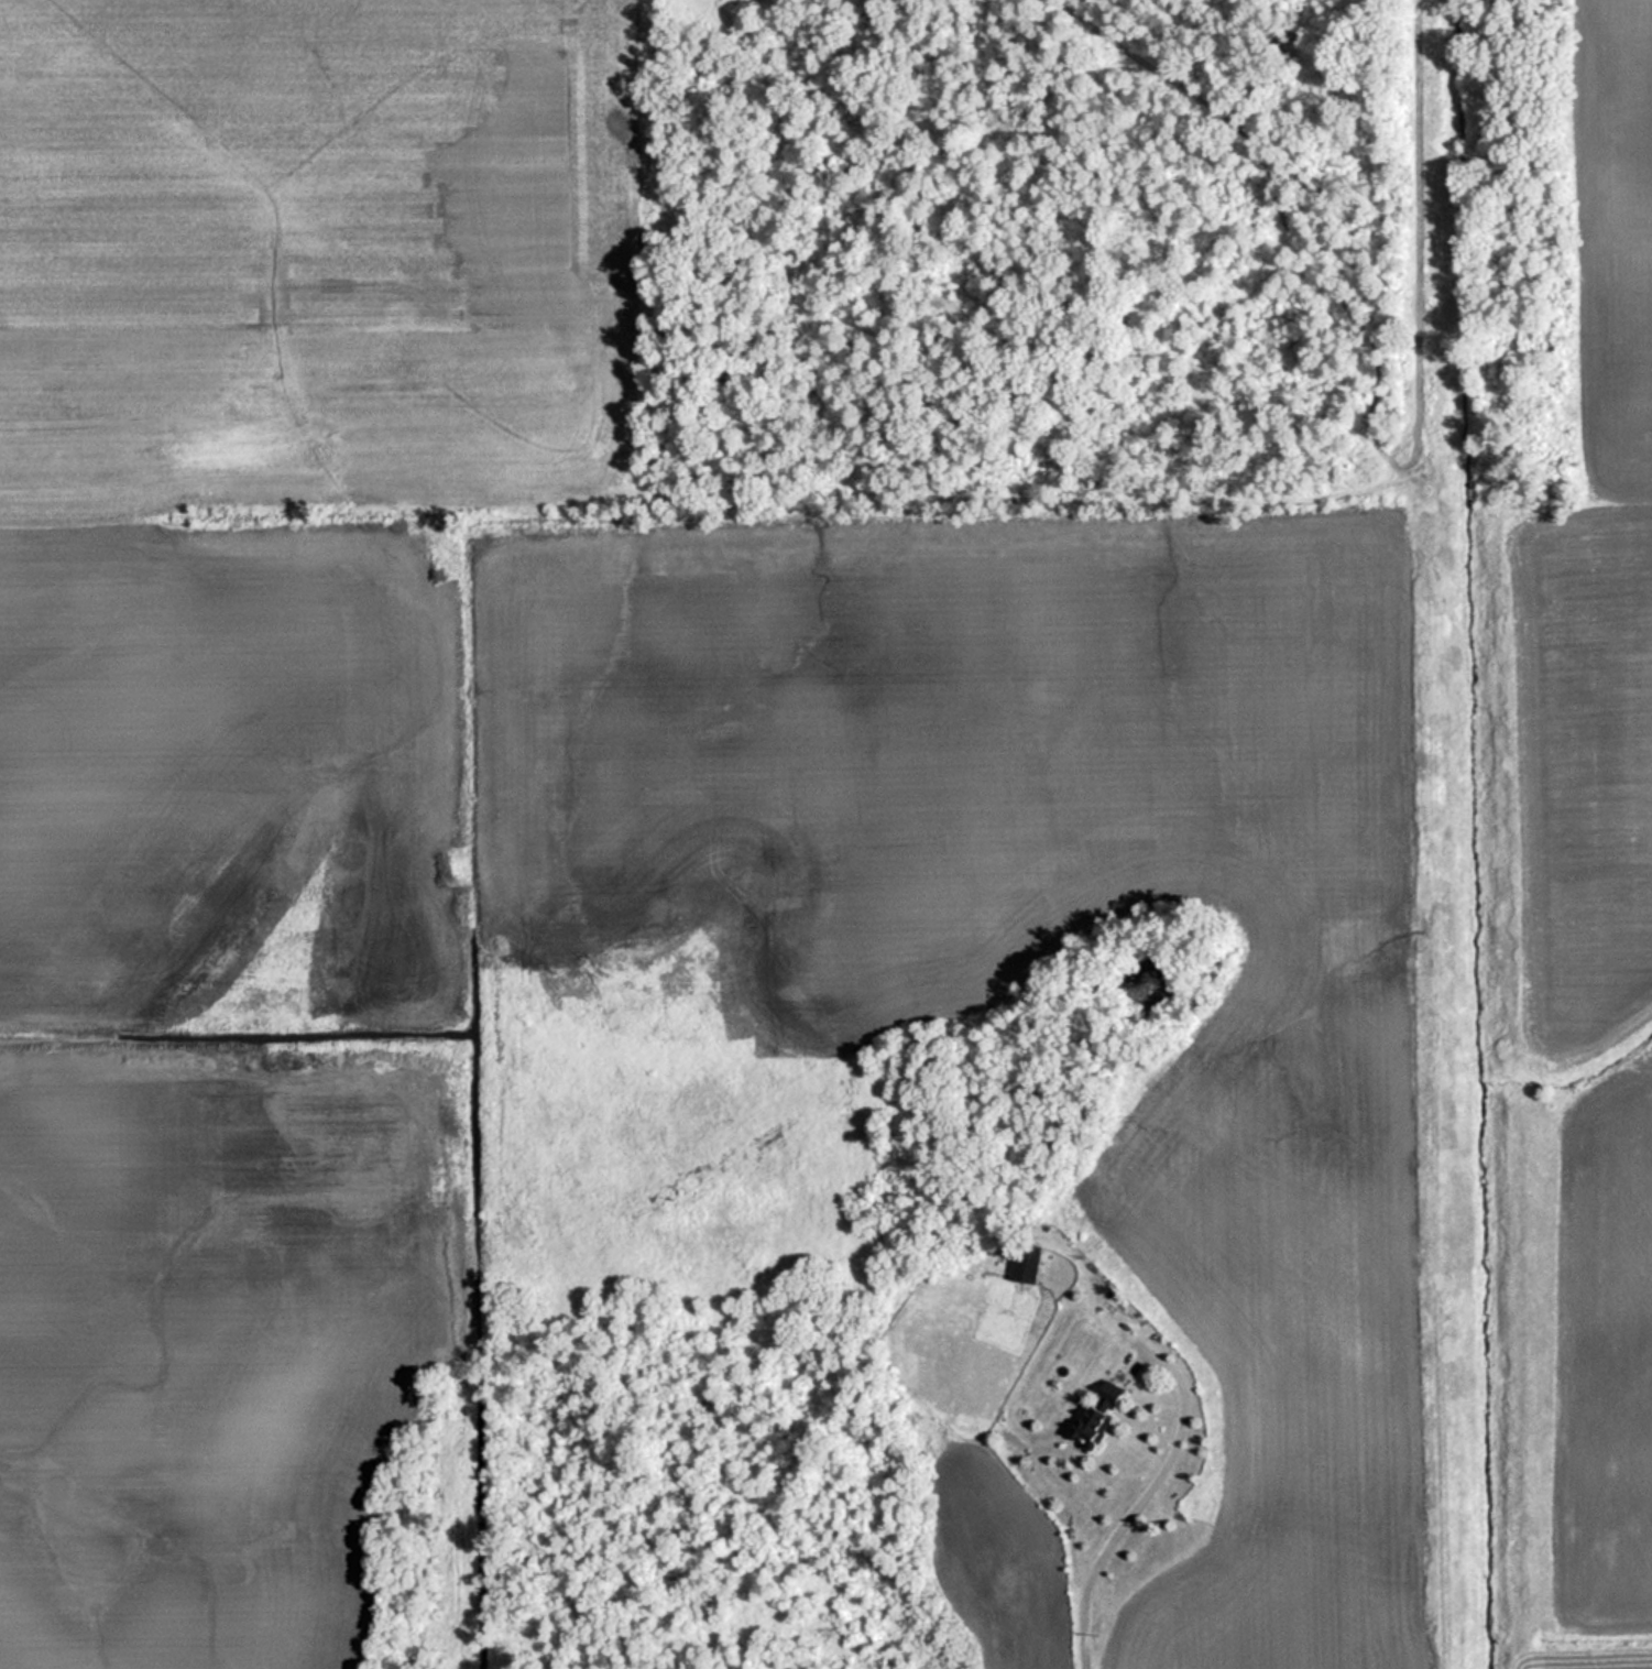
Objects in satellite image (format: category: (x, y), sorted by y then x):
building: (1030, 1261)
building: (1109, 1409)

